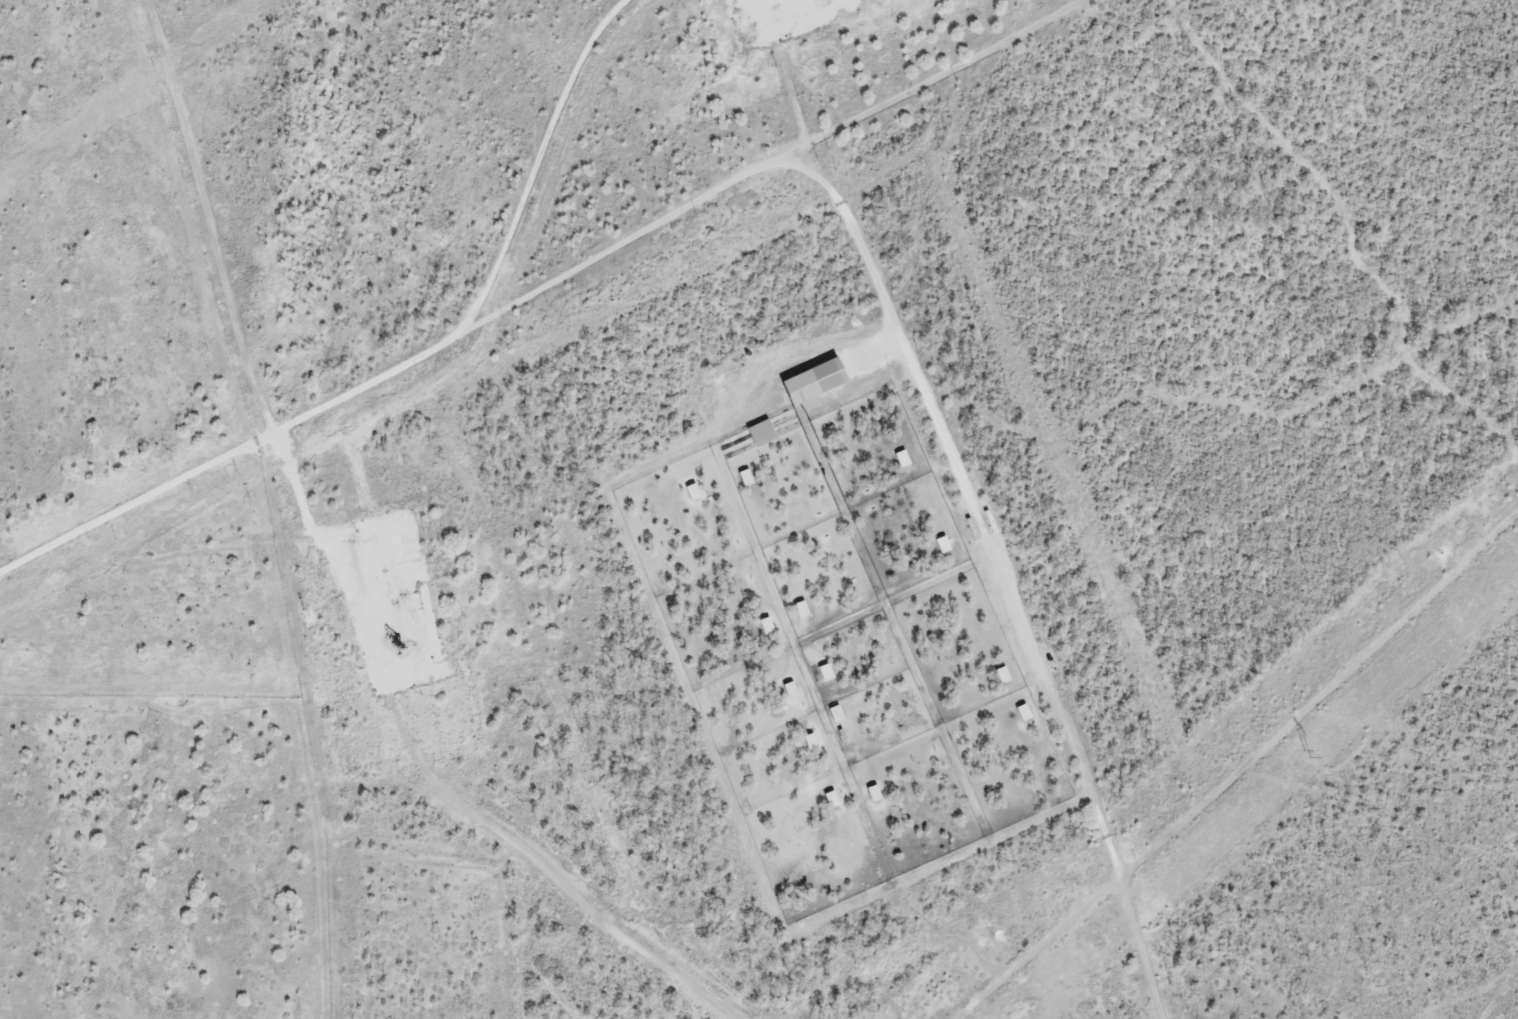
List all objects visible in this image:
road: (546, 158)
road: (934, 412)
road: (239, 444)
road: (300, 474)
power tower: (1308, 752)

